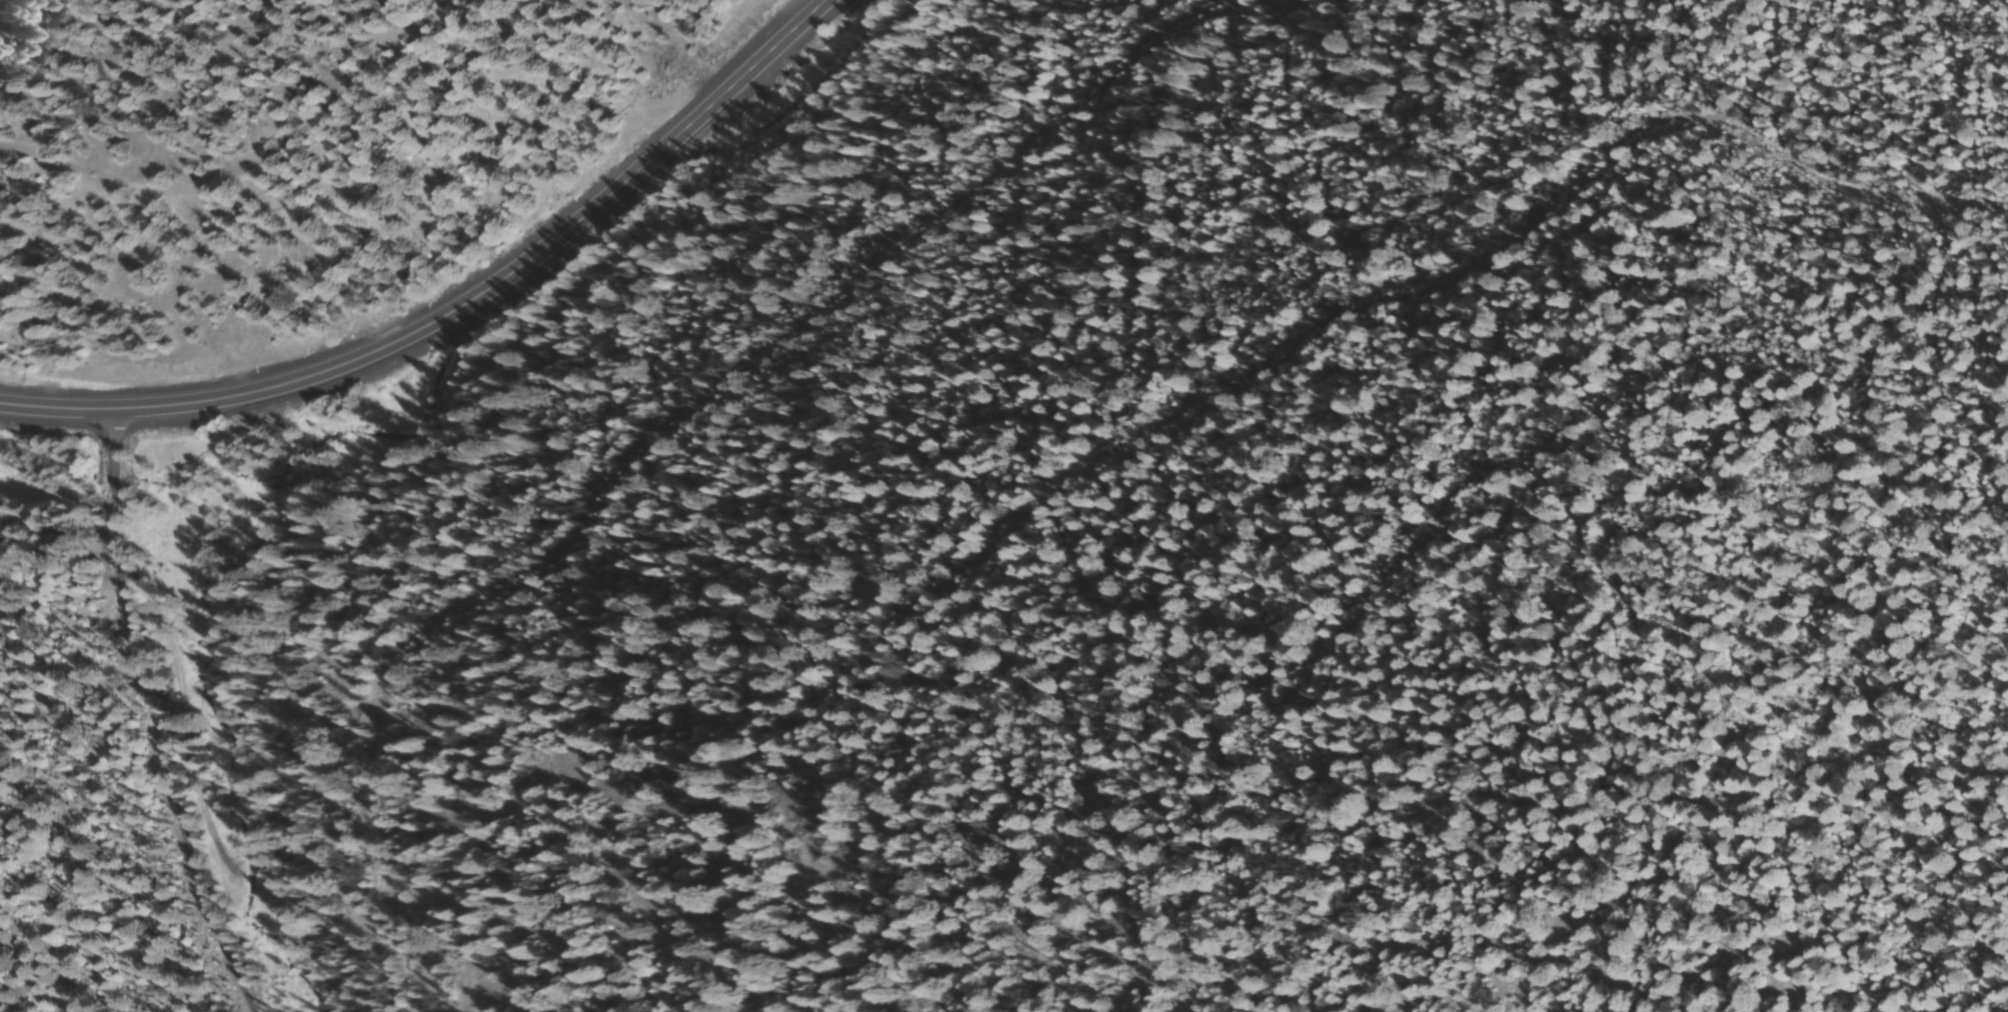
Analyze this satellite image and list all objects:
road: (223, 96)
road: (471, 314)
road: (715, 418)
road: (1577, 424)
road: (301, 959)
road: (984, 980)

